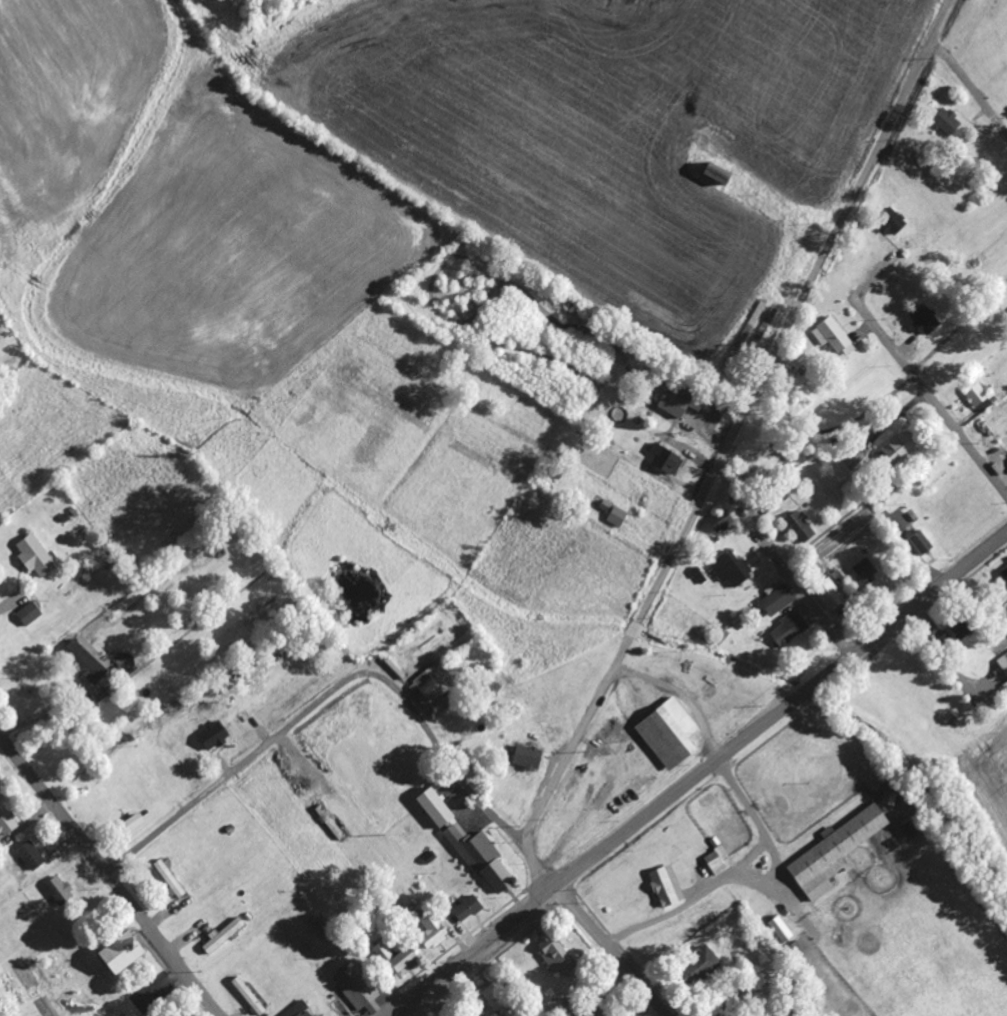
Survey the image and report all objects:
road: (970, 89)
building: (943, 116)
building: (712, 169)
building: (887, 218)
building: (920, 316)
building: (974, 330)
building: (832, 335)
building: (975, 390)
road: (930, 396)
building: (670, 399)
road: (739, 429)
building: (894, 447)
building: (663, 454)
building: (855, 461)
building: (609, 507)
building: (715, 512)
building: (722, 522)
building: (795, 523)
building: (918, 536)
building: (35, 556)
building: (729, 561)
building: (863, 566)
building: (1005, 575)
road: (801, 589)
building: (773, 593)
building: (830, 594)
building: (30, 615)
building: (783, 624)
building: (791, 630)
building: (1003, 658)
building: (86, 665)
road: (349, 683)
building: (431, 687)
building: (666, 729)
building: (214, 737)
building: (523, 755)
road: (699, 774)
building: (639, 783)
building: (603, 788)
building: (890, 799)
building: (7, 822)
building: (832, 843)
building: (469, 845)
building: (716, 853)
building: (32, 856)
road: (110, 874)
building: (171, 879)
building: (663, 880)
building: (60, 891)
building: (468, 910)
building: (777, 925)
building: (433, 932)
building: (224, 936)
road: (612, 951)
building: (120, 954)
building: (556, 956)
building: (399, 961)
building: (702, 965)
building: (357, 988)
building: (249, 996)
building: (501, 1001)
building: (574, 1008)
building: (595, 1009)
building: (299, 1011)

